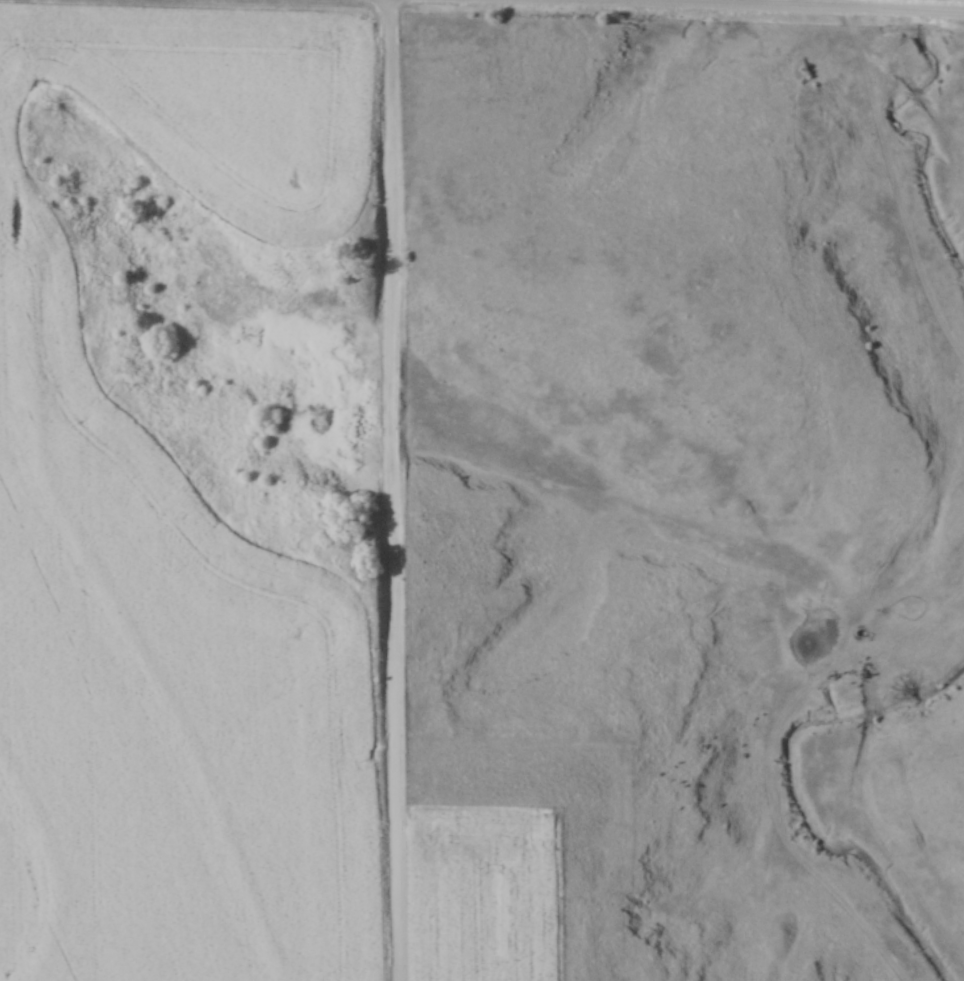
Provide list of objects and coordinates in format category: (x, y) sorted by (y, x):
road: (809, 5)
road: (395, 490)

